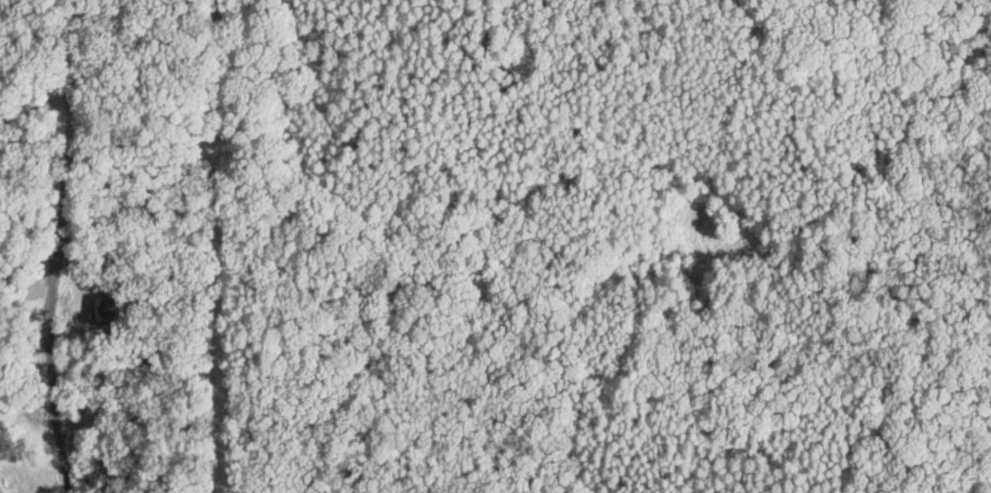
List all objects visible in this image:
road: (266, 57)
road: (67, 61)

